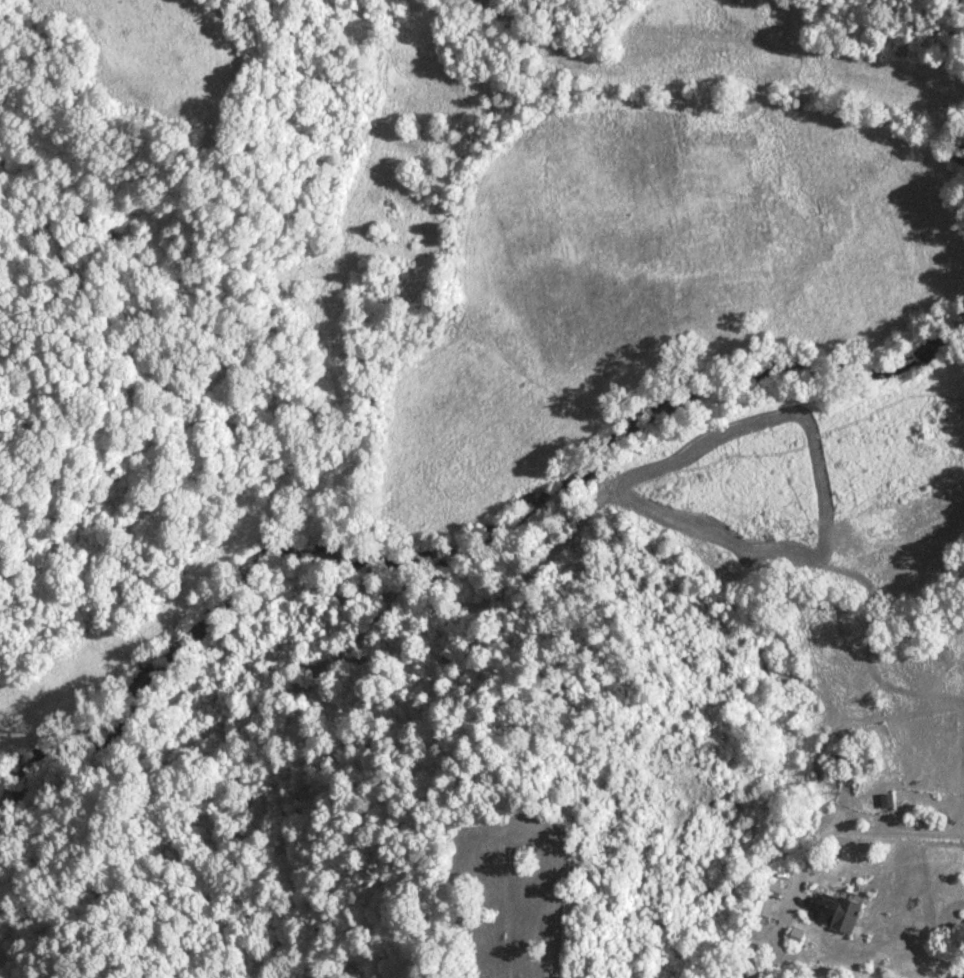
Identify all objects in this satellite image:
building: (848, 760)
road: (807, 846)
building: (837, 915)

